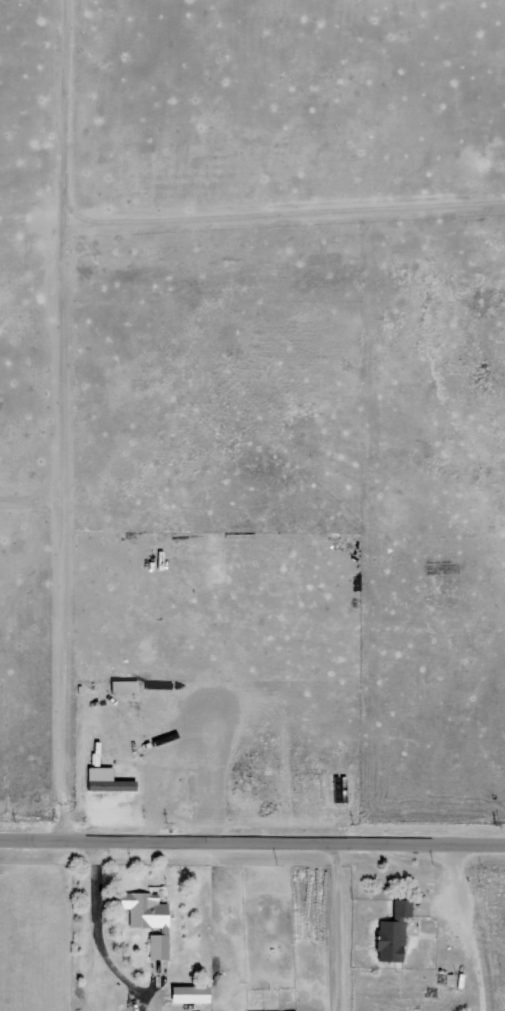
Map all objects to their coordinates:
building: (109, 784)
road: (252, 837)
building: (147, 919)
building: (390, 932)
building: (187, 994)

